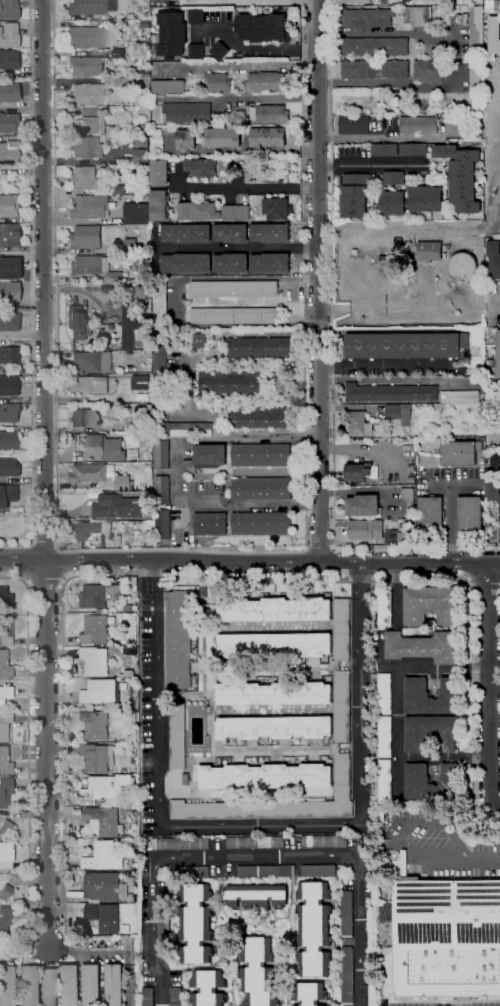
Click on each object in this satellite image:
building: (284, 0)
building: (480, 1)
building: (356, 2)
building: (380, 2)
building: (492, 5)
building: (111, 6)
building: (86, 7)
building: (9, 9)
building: (170, 11)
building: (147, 16)
building: (196, 16)
building: (417, 16)
building: (364, 18)
building: (144, 24)
building: (262, 28)
building: (476, 31)
road: (376, 33)
building: (8, 34)
building: (492, 34)
building: (172, 35)
building: (86, 36)
building: (374, 47)
road: (251, 48)
building: (219, 51)
building: (196, 52)
building: (118, 53)
building: (9, 59)
building: (83, 66)
building: (375, 69)
building: (428, 71)
building: (476, 76)
building: (126, 82)
building: (267, 82)
building: (218, 83)
building: (167, 87)
building: (9, 92)
building: (86, 94)
road: (243, 97)
building: (110, 103)
building: (187, 112)
building: (269, 114)
building: (229, 117)
building: (443, 120)
building: (92, 122)
building: (8, 123)
building: (419, 125)
building: (354, 126)
building: (113, 130)
building: (223, 138)
building: (268, 138)
road: (383, 138)
building: (187, 140)
building: (110, 141)
building: (141, 142)
building: (453, 142)
building: (84, 147)
building: (156, 149)
building: (384, 150)
building: (413, 150)
building: (9, 151)
building: (142, 156)
building: (122, 162)
road: (372, 166)
building: (201, 167)
building: (159, 173)
building: (462, 174)
building: (85, 177)
building: (393, 178)
building: (281, 182)
road: (240, 188)
building: (119, 189)
road: (309, 189)
building: (130, 190)
building: (355, 196)
building: (427, 199)
building: (391, 203)
building: (8, 205)
building: (160, 205)
building: (90, 206)
building: (277, 209)
building: (198, 211)
building: (236, 212)
building: (137, 213)
building: (401, 218)
building: (187, 233)
building: (231, 233)
building: (270, 233)
building: (9, 234)
building: (86, 236)
building: (131, 246)
road: (243, 248)
building: (430, 251)
building: (355, 252)
building: (396, 252)
building: (494, 259)
building: (187, 263)
building: (231, 263)
building: (271, 263)
building: (89, 265)
road: (413, 266)
building: (463, 266)
building: (9, 268)
road: (31, 270)
road: (54, 273)
building: (113, 278)
building: (437, 278)
road: (319, 281)
building: (406, 283)
building: (499, 283)
building: (114, 288)
building: (234, 289)
building: (92, 290)
building: (9, 292)
building: (139, 292)
building: (178, 299)
building: (160, 302)
road: (493, 306)
building: (458, 313)
building: (234, 316)
building: (9, 320)
building: (142, 322)
building: (78, 323)
building: (128, 324)
building: (111, 327)
building: (175, 340)
building: (198, 340)
building: (406, 345)
building: (259, 348)
road: (206, 352)
building: (9, 354)
road: (332, 356)
building: (497, 358)
building: (159, 359)
building: (92, 361)
road: (391, 366)
building: (129, 369)
building: (492, 373)
building: (139, 383)
building: (230, 383)
building: (278, 383)
building: (89, 384)
building: (9, 385)
building: (160, 392)
building: (391, 392)
building: (460, 397)
road: (304, 400)
building: (494, 400)
building: (113, 409)
building: (135, 409)
building: (8, 412)
building: (399, 413)
building: (260, 417)
building: (84, 418)
building: (113, 422)
building: (359, 424)
building: (493, 426)
building: (184, 429)
building: (72, 436)
building: (479, 439)
building: (8, 440)
building: (145, 442)
road: (499, 443)
building: (103, 448)
building: (461, 453)
building: (132, 454)
building: (162, 454)
building: (262, 455)
building: (151, 458)
building: (206, 458)
building: (496, 459)
building: (8, 467)
building: (148, 468)
building: (412, 468)
building: (358, 471)
road: (176, 473)
road: (42, 474)
building: (92, 474)
building: (411, 479)
building: (122, 482)
building: (261, 488)
building: (492, 489)
building: (162, 490)
building: (7, 493)
building: (408, 503)
building: (363, 505)
building: (118, 507)
building: (499, 511)
building: (470, 514)
building: (431, 515)
building: (163, 524)
building: (210, 524)
building: (261, 524)
building: (5, 526)
building: (369, 529)
building: (85, 530)
building: (405, 536)
road: (44, 540)
building: (108, 540)
road: (17, 546)
road: (320, 546)
road: (25, 562)
road: (249, 563)
road: (467, 563)
road: (62, 565)
building: (120, 578)
road: (45, 579)
road: (219, 580)
road: (483, 582)
building: (203, 592)
building: (100, 595)
building: (5, 598)
building: (431, 604)
building: (128, 607)
building: (385, 607)
building: (269, 608)
building: (96, 629)
building: (5, 631)
building: (179, 639)
building: (277, 645)
building: (424, 646)
building: (127, 657)
building: (97, 661)
building: (4, 665)
building: (135, 674)
road: (489, 687)
building: (101, 691)
building: (275, 693)
building: (385, 693)
building: (5, 694)
building: (418, 696)
building: (342, 706)
building: (96, 724)
building: (4, 726)
building: (276, 726)
building: (385, 736)
building: (419, 736)
building: (177, 737)
road: (28, 743)
building: (97, 757)
building: (5, 761)
building: (133, 761)
building: (265, 775)
building: (185, 778)
building: (386, 780)
building: (418, 782)
building: (105, 789)
building: (5, 790)
building: (103, 821)
road: (255, 822)
building: (5, 827)
building: (325, 841)
building: (256, 842)
building: (180, 843)
building: (368, 844)
parking lot: (445, 854)
building: (6, 855)
building: (107, 855)
road: (252, 857)
road: (462, 860)
building: (318, 870)
building: (189, 871)
building: (266, 871)
building: (106, 886)
building: (5, 893)
building: (257, 894)
building: (132, 907)
building: (347, 913)
building: (5, 918)
building: (109, 919)
building: (87, 920)
building: (164, 920)
building: (196, 923)
building: (314, 928)
building: (447, 936)
road: (115, 951)
building: (258, 971)
building: (346, 974)
building: (92, 984)
building: (115, 984)
building: (7, 985)
building: (27, 985)
building: (71, 985)
building: (48, 987)
building: (208, 987)
building: (309, 993)
building: (148, 997)
building: (176, 997)
parking lot: (450, 1005)

